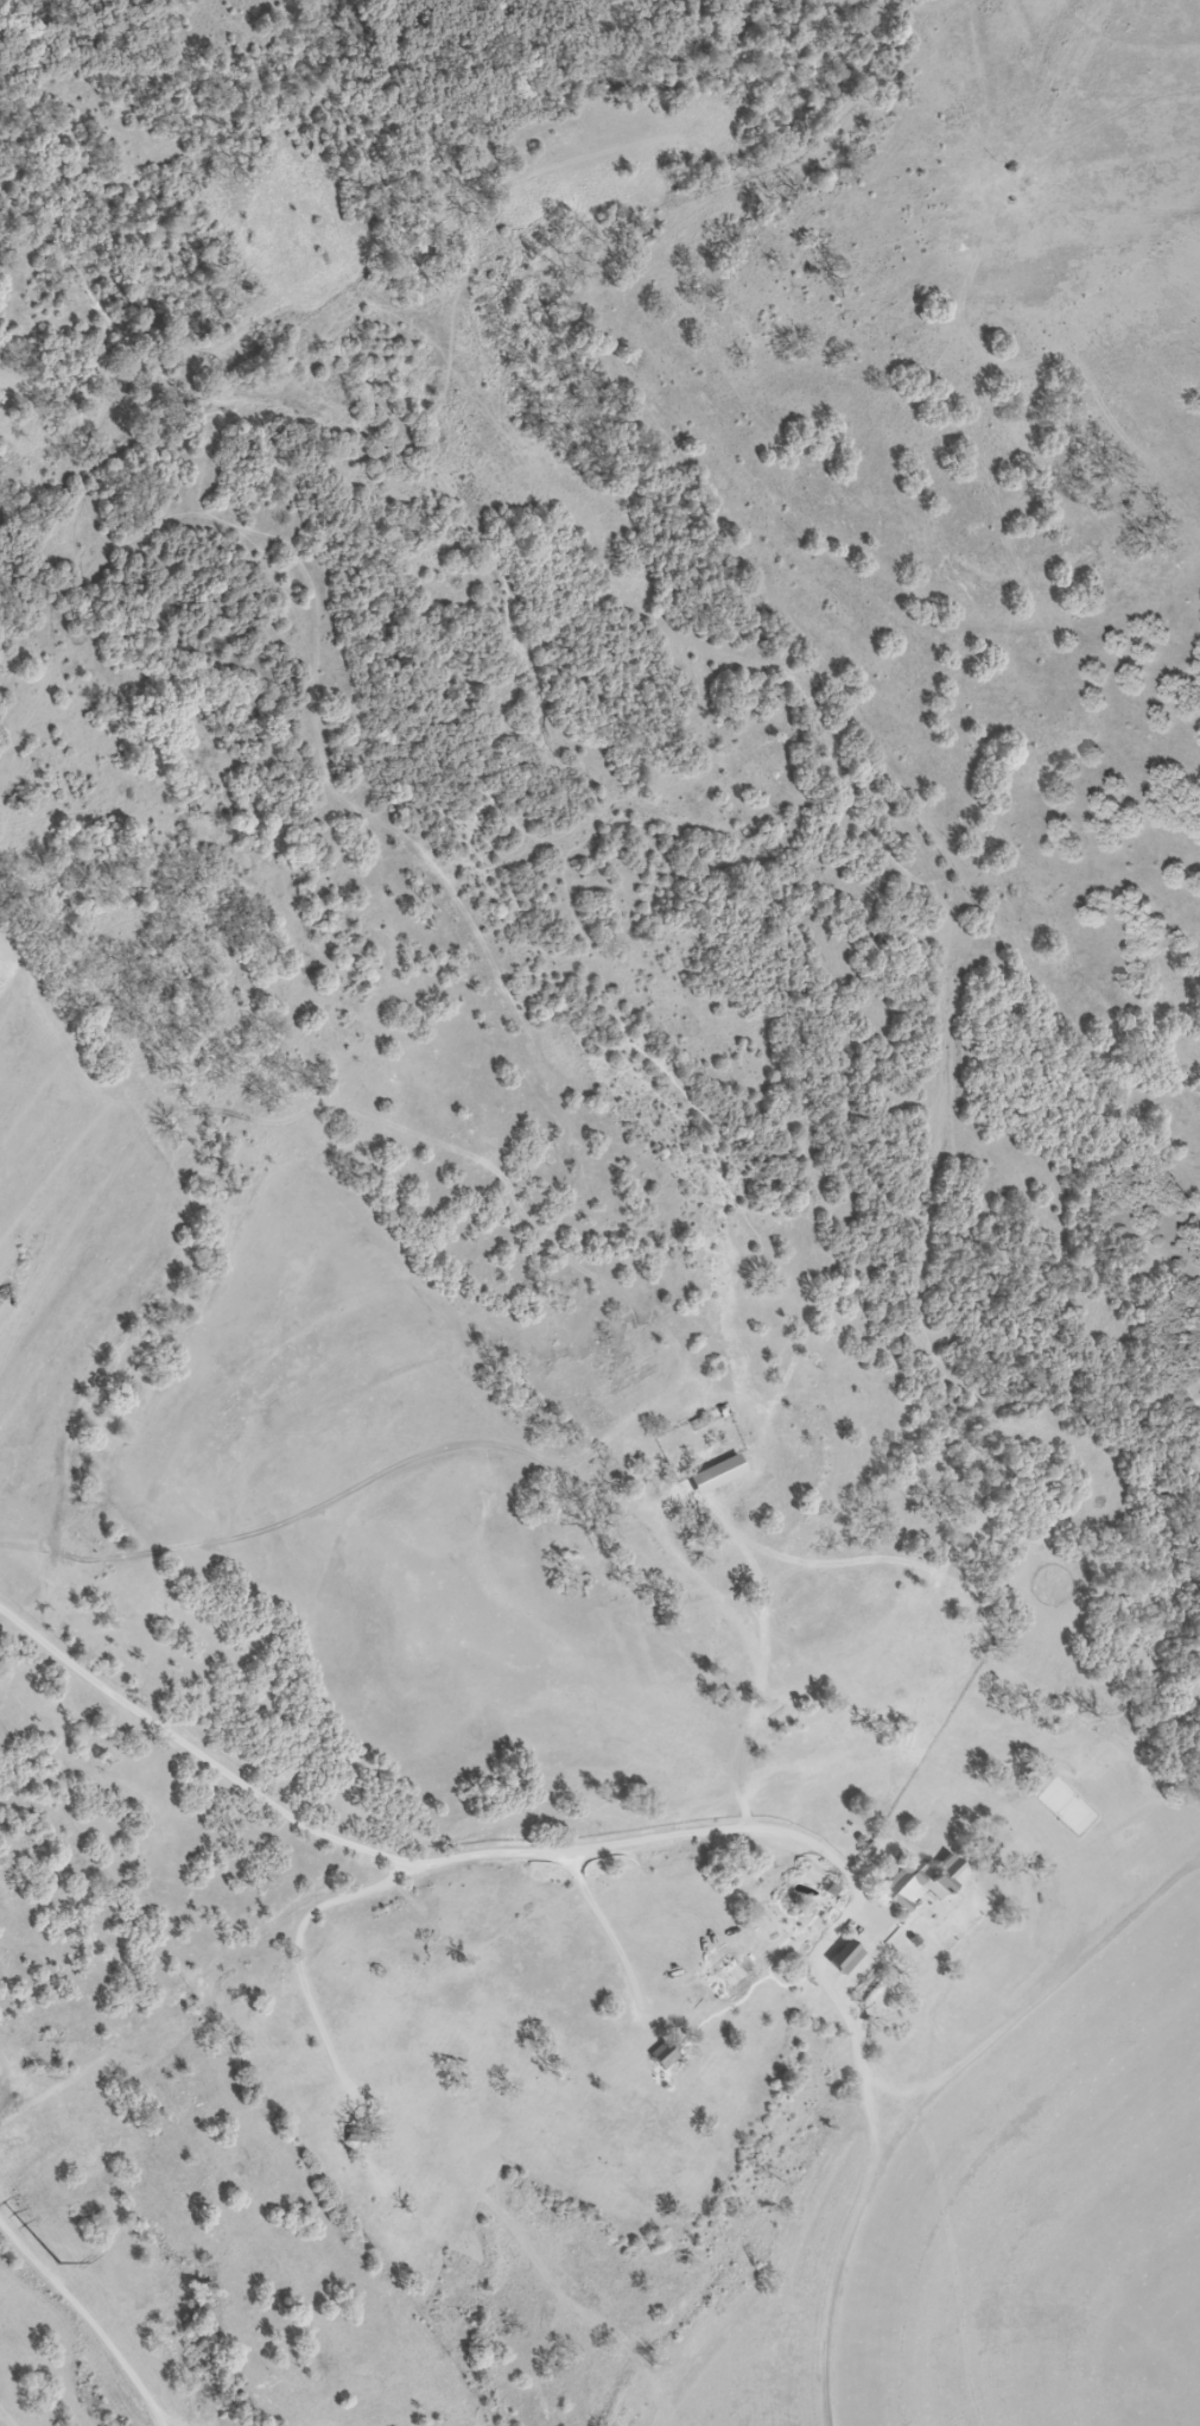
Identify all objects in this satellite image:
building: (719, 1475)
road: (514, 1858)
building: (925, 1883)
building: (847, 1957)
building: (734, 1972)
building: (666, 2054)
power tower: (59, 2265)
road: (8, 2415)

